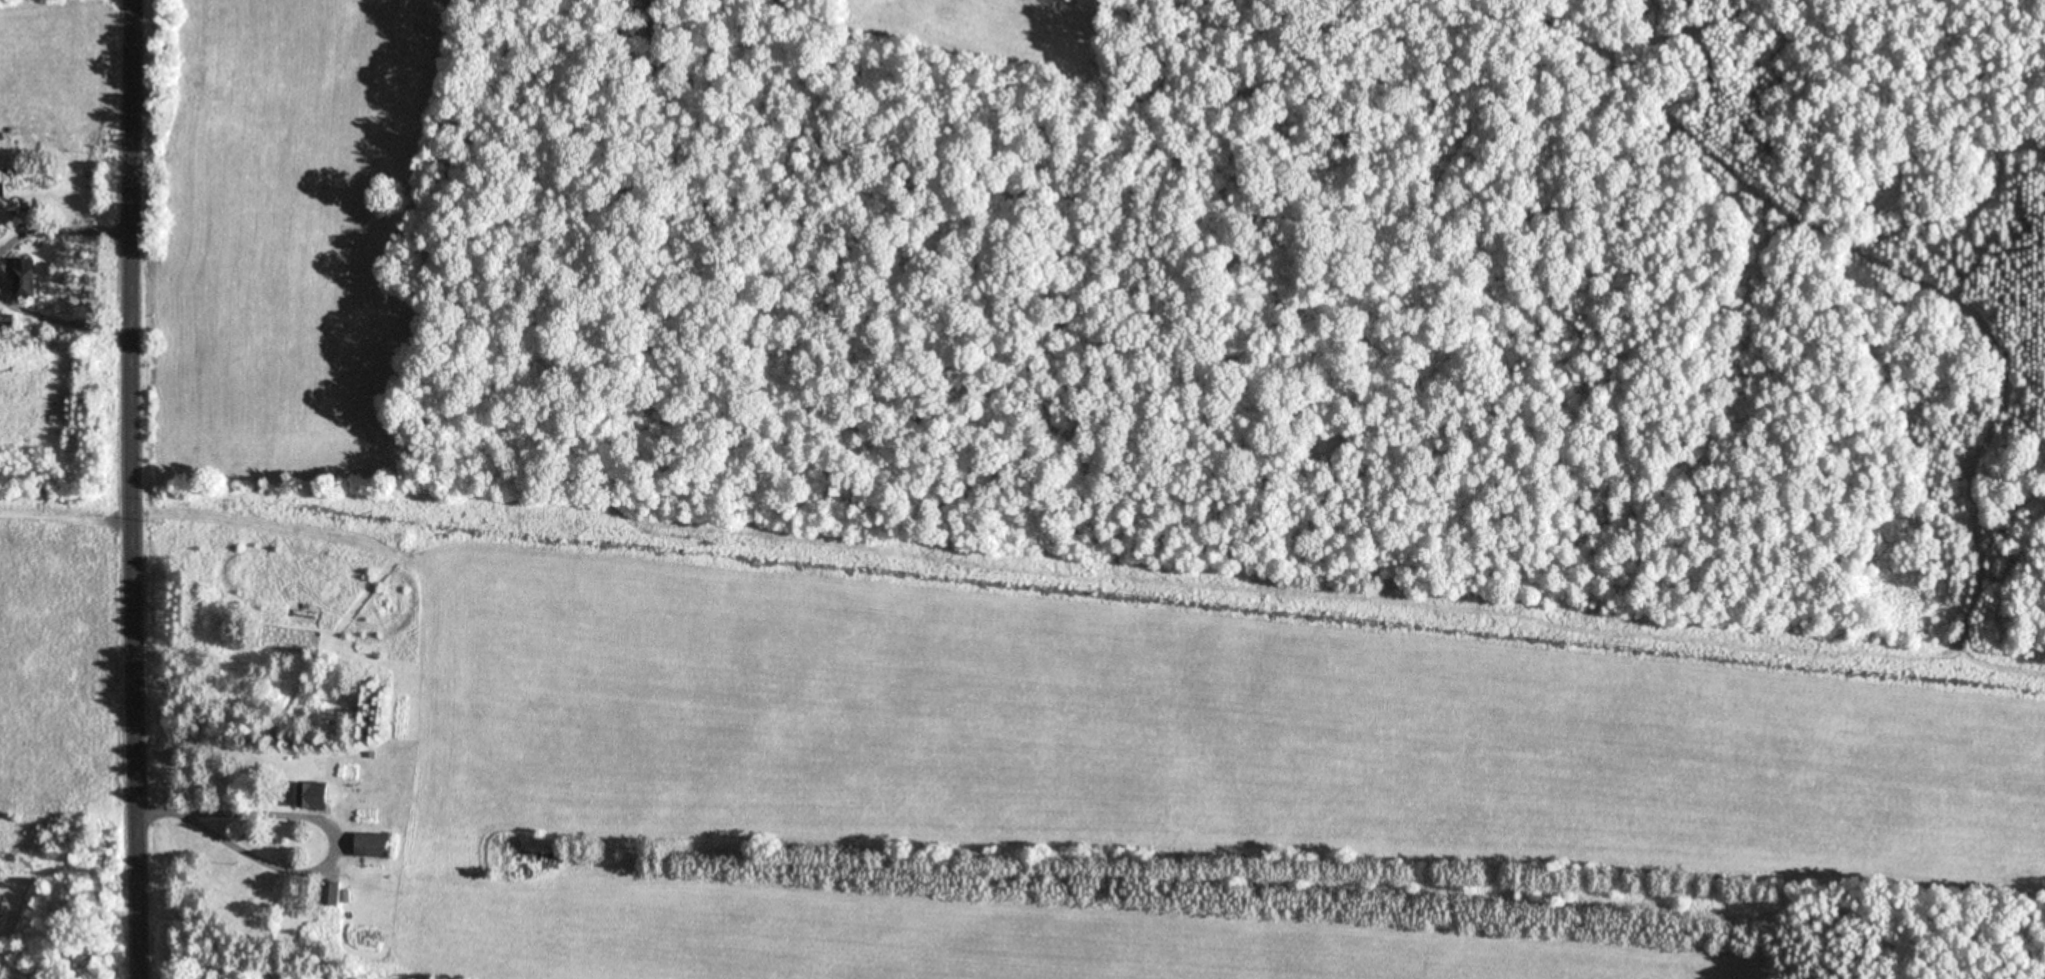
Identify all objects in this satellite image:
building: (27, 279)
building: (13, 324)
road: (152, 489)
building: (308, 796)
building: (375, 845)
building: (334, 893)

